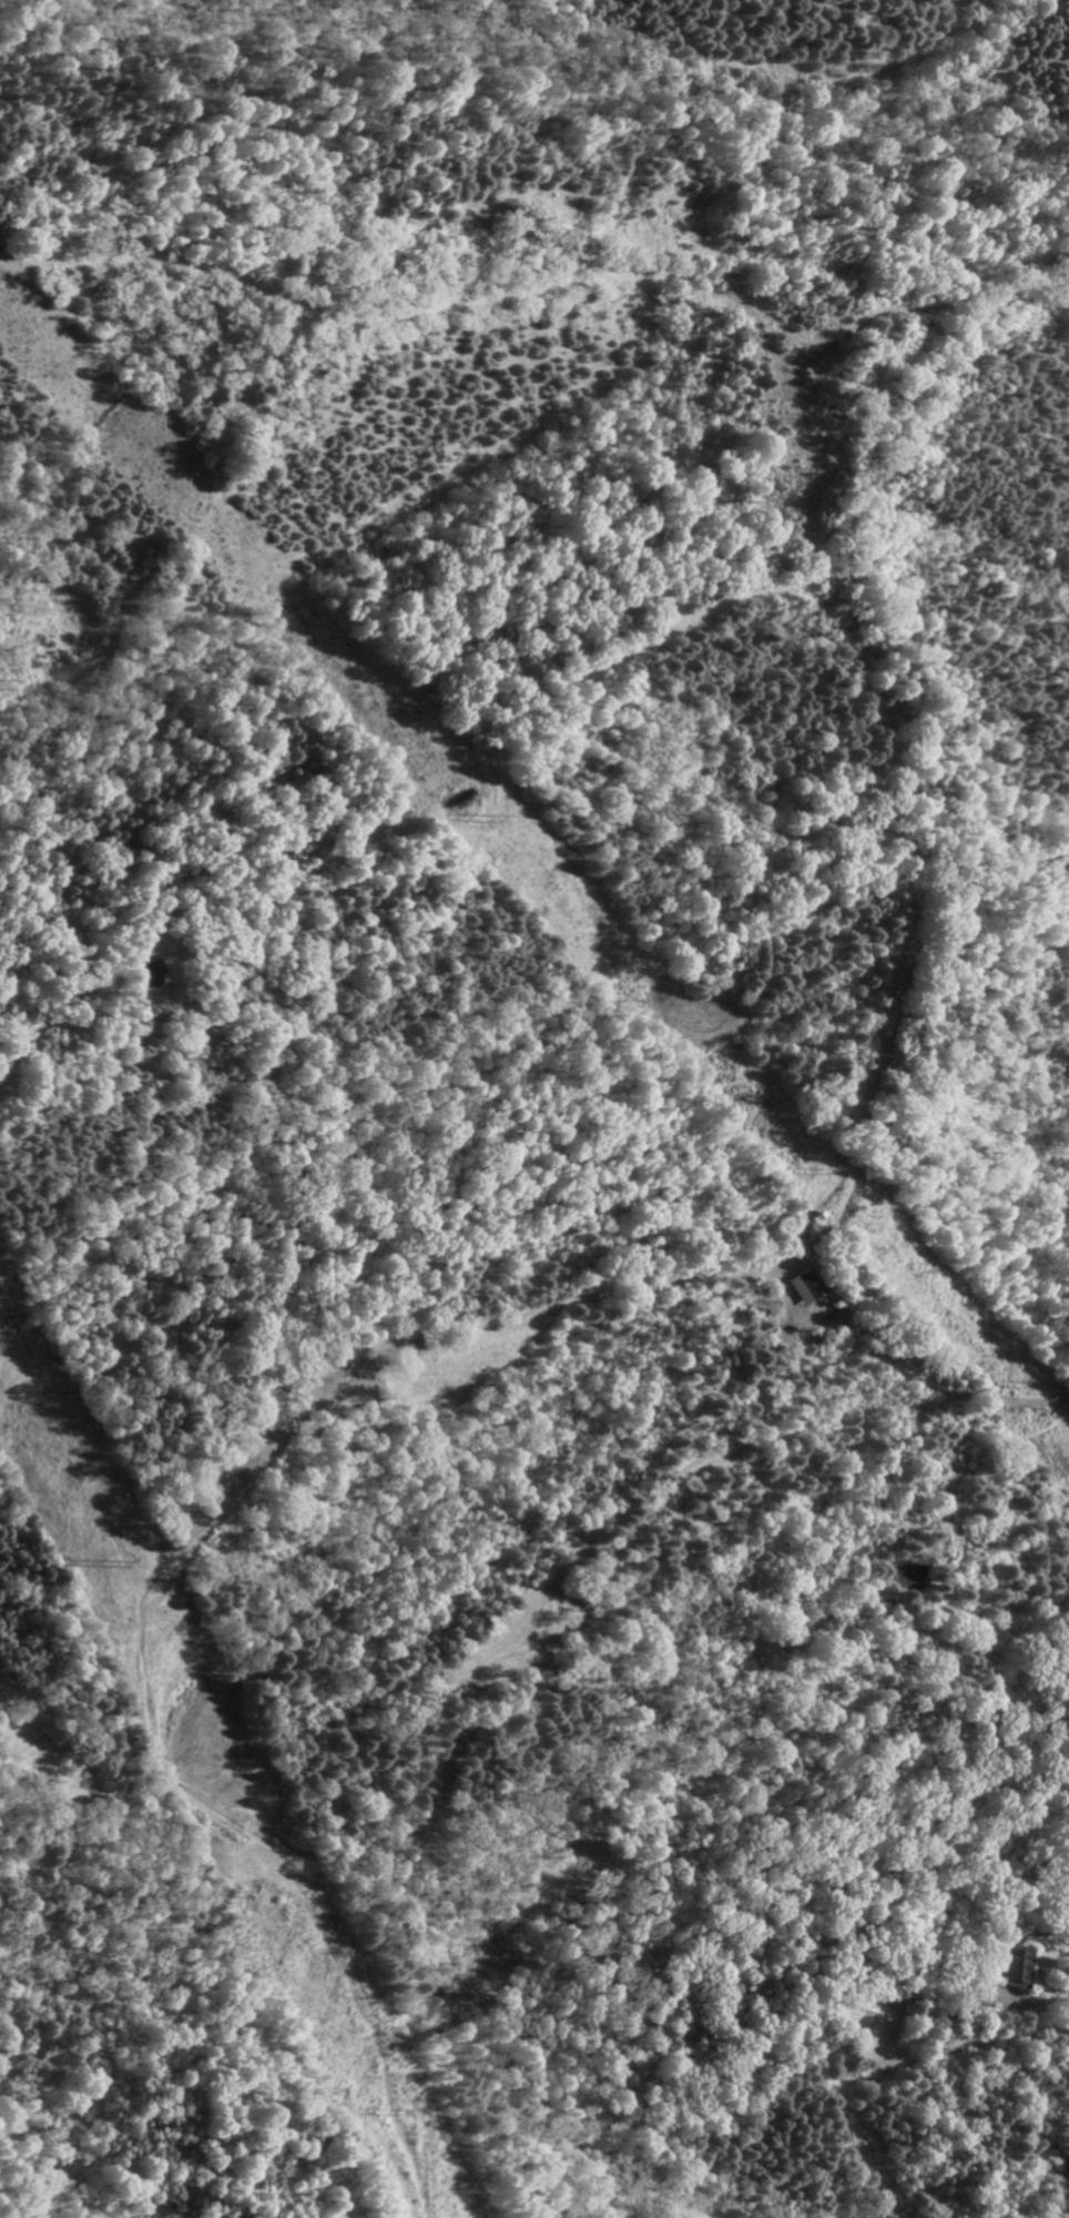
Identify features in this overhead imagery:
road: (823, 282)
road: (914, 912)
building: (813, 1285)
building: (1022, 1964)

